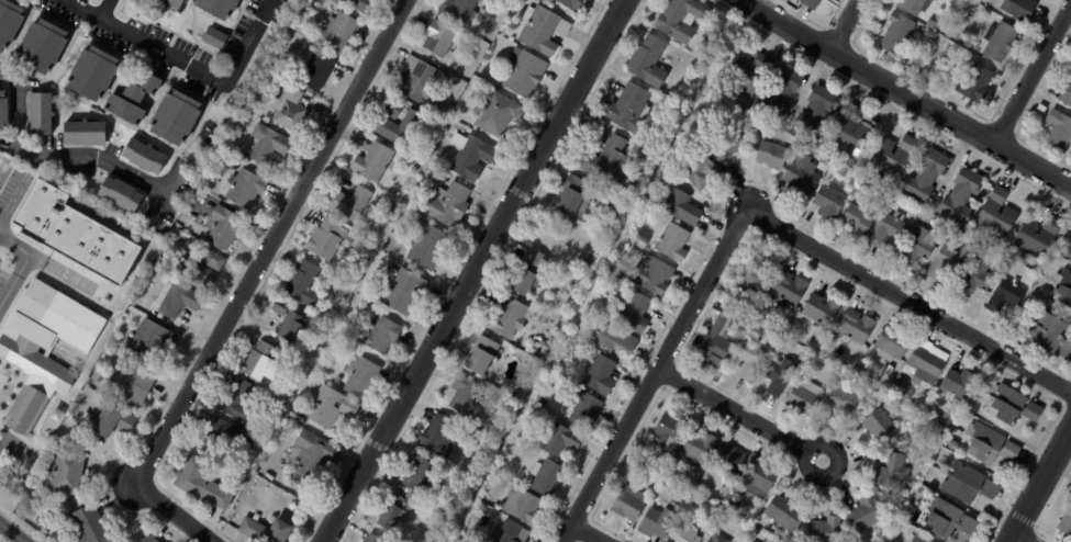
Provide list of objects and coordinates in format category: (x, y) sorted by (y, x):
building: (178, 2)
building: (808, 3)
building: (362, 4)
building: (577, 4)
building: (913, 5)
building: (971, 7)
building: (222, 8)
building: (458, 9)
building: (1018, 9)
road: (105, 10)
building: (678, 18)
building: (10, 23)
road: (844, 24)
building: (294, 25)
building: (929, 25)
building: (341, 31)
building: (544, 31)
building: (710, 33)
building: (896, 34)
building: (438, 35)
building: (929, 35)
building: (217, 37)
building: (999, 43)
building: (45, 46)
building: (647, 60)
road: (186, 66)
building: (320, 69)
building: (526, 71)
road: (1031, 71)
building: (97, 74)
building: (744, 74)
building: (267, 75)
building: (419, 77)
building: (970, 86)
building: (779, 92)
building: (682, 94)
road: (910, 94)
building: (1066, 95)
building: (137, 99)
building: (249, 103)
building: (627, 108)
building: (292, 109)
building: (671, 109)
building: (3, 110)
building: (497, 112)
building: (43, 113)
building: (812, 114)
building: (179, 117)
building: (401, 123)
building: (1058, 129)
building: (87, 133)
building: (847, 133)
building: (725, 142)
building: (227, 144)
building: (270, 146)
building: (770, 155)
building: (889, 155)
building: (147, 156)
road: (57, 158)
building: (476, 158)
building: (823, 158)
building: (603, 159)
building: (377, 161)
building: (696, 169)
building: (414, 170)
building: (801, 174)
building: (922, 176)
building: (248, 188)
building: (123, 194)
building: (958, 195)
building: (572, 197)
building: (829, 200)
road: (12, 202)
building: (451, 203)
building: (355, 204)
building: (680, 207)
building: (393, 211)
building: (995, 213)
building: (856, 218)
building: (225, 228)
building: (886, 230)
building: (74, 232)
building: (1035, 237)
building: (331, 238)
road: (271, 240)
building: (670, 241)
building: (916, 244)
building: (431, 246)
building: (216, 260)
building: (584, 262)
building: (946, 263)
road: (21, 264)
road: (472, 270)
building: (200, 272)
building: (524, 274)
building: (650, 274)
building: (153, 276)
building: (751, 276)
building: (974, 279)
building: (131, 283)
building: (308, 283)
building: (786, 287)
building: (1064, 287)
building: (404, 291)
building: (1003, 296)
building: (179, 300)
road: (908, 300)
building: (819, 309)
building: (632, 313)
building: (756, 316)
building: (505, 317)
building: (292, 319)
building: (855, 326)
building: (384, 335)
building: (1050, 335)
building: (613, 338)
building: (812, 338)
building: (156, 340)
building: (543, 343)
building: (716, 343)
building: (891, 343)
building: (45, 349)
building: (481, 354)
building: (748, 358)
building: (265, 362)
building: (926, 363)
building: (890, 368)
building: (596, 373)
road: (654, 375)
building: (777, 376)
building: (366, 377)
building: (899, 379)
building: (565, 383)
building: (956, 383)
building: (134, 384)
building: (513, 388)
building: (98, 396)
building: (803, 396)
building: (466, 397)
building: (241, 400)
building: (841, 400)
building: (332, 406)
building: (1012, 407)
building: (581, 408)
road: (740, 413)
building: (935, 417)
building: (111, 420)
building: (879, 426)
building: (667, 431)
building: (908, 436)
building: (227, 437)
building: (440, 437)
building: (271, 439)
building: (556, 439)
building: (989, 443)
building: (952, 445)
building: (696, 448)
building: (901, 449)
building: (727, 458)
building: (313, 459)
building: (652, 462)
building: (639, 467)
building: (889, 471)
building: (69, 473)
building: (416, 473)
building: (544, 477)
building: (758, 478)
building: (967, 481)
road: (1039, 484)
building: (208, 486)
building: (917, 500)
building: (520, 506)
building: (625, 506)
building: (544, 507)
road: (176, 511)
building: (782, 511)
building: (863, 513)
building: (391, 515)
building: (259, 517)
building: (947, 518)
building: (722, 519)
building: (655, 523)
building: (1064, 524)
building: (96, 527)
building: (822, 530)
building: (270, 531)
building: (509, 532)
road: (588, 532)
road: (10, 533)
building: (682, 534)
building: (371, 538)
building: (152, 539)
building: (716, 539)
building: (918, 539)
road: (1015, 539)
building: (747, 541)

